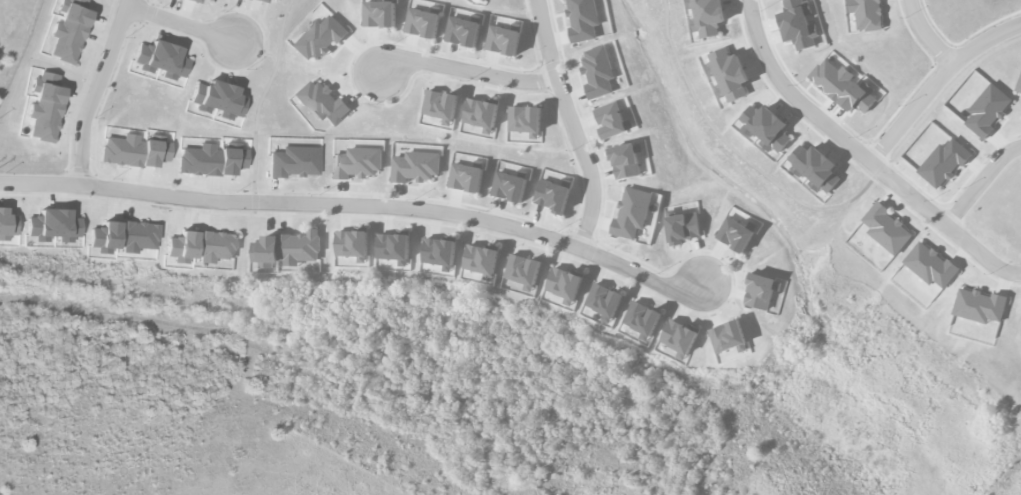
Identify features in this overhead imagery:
building: (210, 0)
building: (276, 0)
building: (193, 1)
building: (260, 1)
building: (483, 1)
building: (379, 14)
building: (866, 14)
building: (706, 17)
building: (582, 20)
building: (422, 23)
road: (181, 24)
building: (798, 24)
building: (69, 31)
building: (462, 32)
road: (928, 36)
building: (320, 39)
building: (503, 40)
building: (718, 54)
building: (161, 60)
road: (466, 71)
building: (597, 73)
building: (729, 78)
road: (937, 85)
building: (1018, 86)
building: (842, 87)
road: (95, 91)
building: (218, 99)
building: (322, 102)
building: (439, 105)
building: (45, 107)
building: (987, 110)
building: (480, 112)
building: (524, 120)
building: (612, 121)
road: (572, 124)
building: (765, 128)
road: (828, 128)
building: (135, 151)
road: (739, 153)
building: (212, 159)
building: (624, 161)
building: (294, 162)
building: (357, 163)
building: (943, 163)
building: (415, 167)
building: (814, 168)
building: (466, 178)
road: (981, 184)
building: (509, 187)
building: (553, 196)
road: (358, 207)
building: (631, 213)
building: (7, 225)
building: (53, 226)
building: (682, 228)
building: (886, 229)
building: (735, 234)
building: (124, 237)
building: (352, 243)
building: (201, 246)
building: (393, 246)
building: (286, 249)
building: (439, 251)
road: (982, 255)
building: (480, 259)
building: (930, 266)
building: (522, 271)
building: (564, 284)
building: (760, 292)
building: (604, 302)
building: (979, 306)
building: (642, 320)
building: (679, 336)
building: (727, 337)

